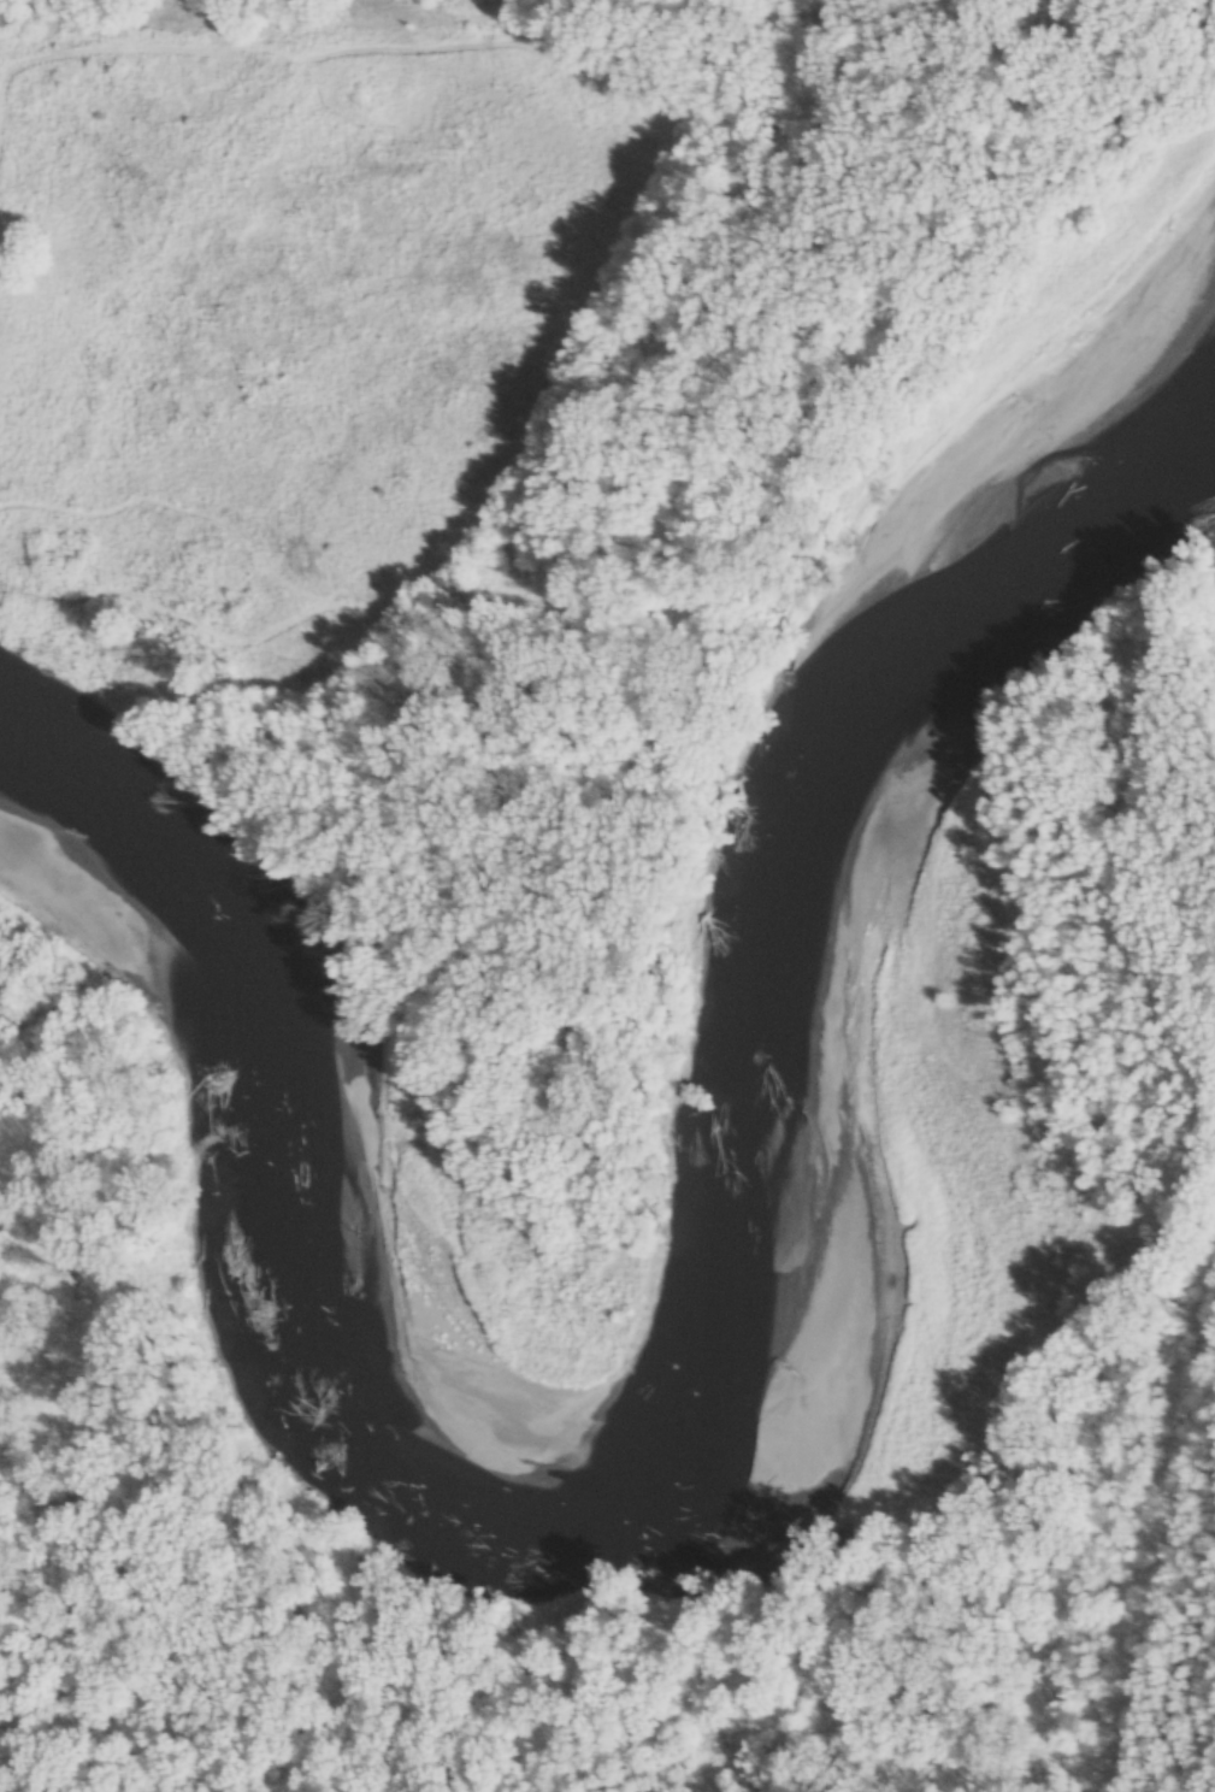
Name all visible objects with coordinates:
river: (924, 1402)

